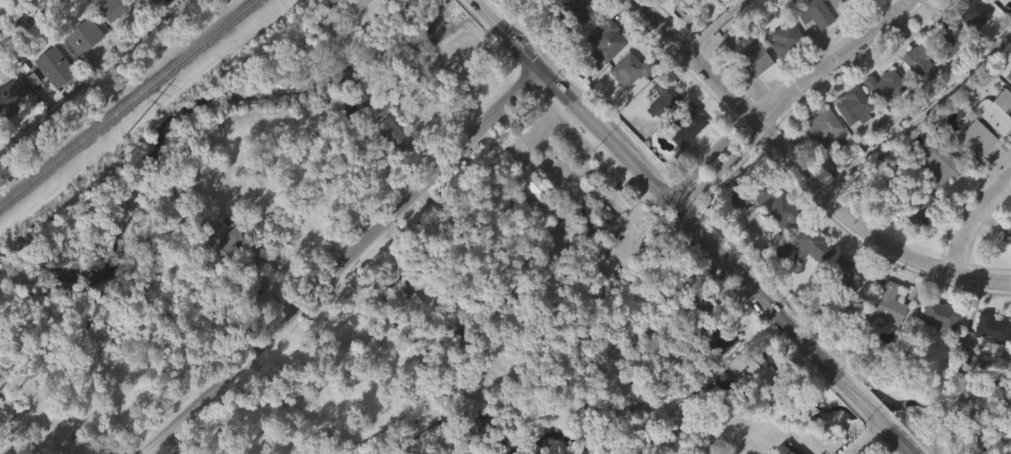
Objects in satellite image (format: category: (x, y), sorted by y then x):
road: (476, 0)
building: (997, 0)
building: (1010, 0)
building: (386, 1)
building: (684, 2)
building: (874, 3)
building: (841, 4)
building: (725, 6)
building: (114, 8)
building: (149, 9)
building: (332, 10)
building: (974, 13)
building: (813, 14)
building: (569, 16)
building: (1, 17)
road: (25, 18)
building: (675, 18)
building: (389, 20)
road: (715, 25)
building: (839, 26)
building: (355, 29)
building: (731, 35)
building: (110, 36)
building: (82, 37)
building: (573, 37)
building: (786, 37)
building: (950, 37)
building: (968, 38)
building: (605, 42)
building: (810, 43)
building: (754, 59)
building: (943, 59)
building: (921, 63)
building: (1010, 64)
building: (54, 66)
building: (632, 68)
building: (77, 69)
building: (781, 69)
building: (725, 70)
building: (601, 72)
building: (1008, 75)
building: (883, 85)
building: (750, 90)
road: (788, 95)
building: (915, 95)
building: (11, 97)
building: (51, 97)
building: (664, 98)
road: (575, 99)
building: (625, 99)
railway: (126, 102)
building: (852, 106)
building: (994, 111)
building: (880, 117)
road: (925, 120)
building: (687, 124)
building: (8, 127)
building: (823, 127)
building: (389, 134)
building: (351, 135)
building: (849, 135)
power tower: (121, 139)
building: (972, 139)
building: (993, 141)
building: (683, 155)
building: (818, 158)
building: (939, 162)
building: (389, 166)
building: (970, 169)
road: (573, 171)
road: (804, 171)
building: (533, 183)
building: (750, 193)
building: (932, 195)
building: (909, 208)
building: (527, 213)
building: (781, 213)
building: (462, 214)
road: (972, 216)
building: (1010, 224)
building: (747, 225)
building: (1008, 236)
building: (915, 237)
building: (231, 240)
building: (776, 242)
building: (463, 243)
building: (810, 244)
building: (540, 257)
road: (346, 259)
building: (1006, 264)
building: (225, 272)
building: (809, 274)
building: (841, 274)
building: (396, 284)
building: (275, 286)
building: (842, 303)
building: (888, 304)
building: (937, 317)
road: (793, 326)
building: (990, 327)
building: (716, 336)
building: (882, 336)
building: (441, 346)
building: (934, 348)
building: (986, 357)
building: (754, 365)
building: (710, 370)
building: (748, 396)
road: (866, 438)
road: (896, 448)
road: (79, 449)
building: (784, 452)

